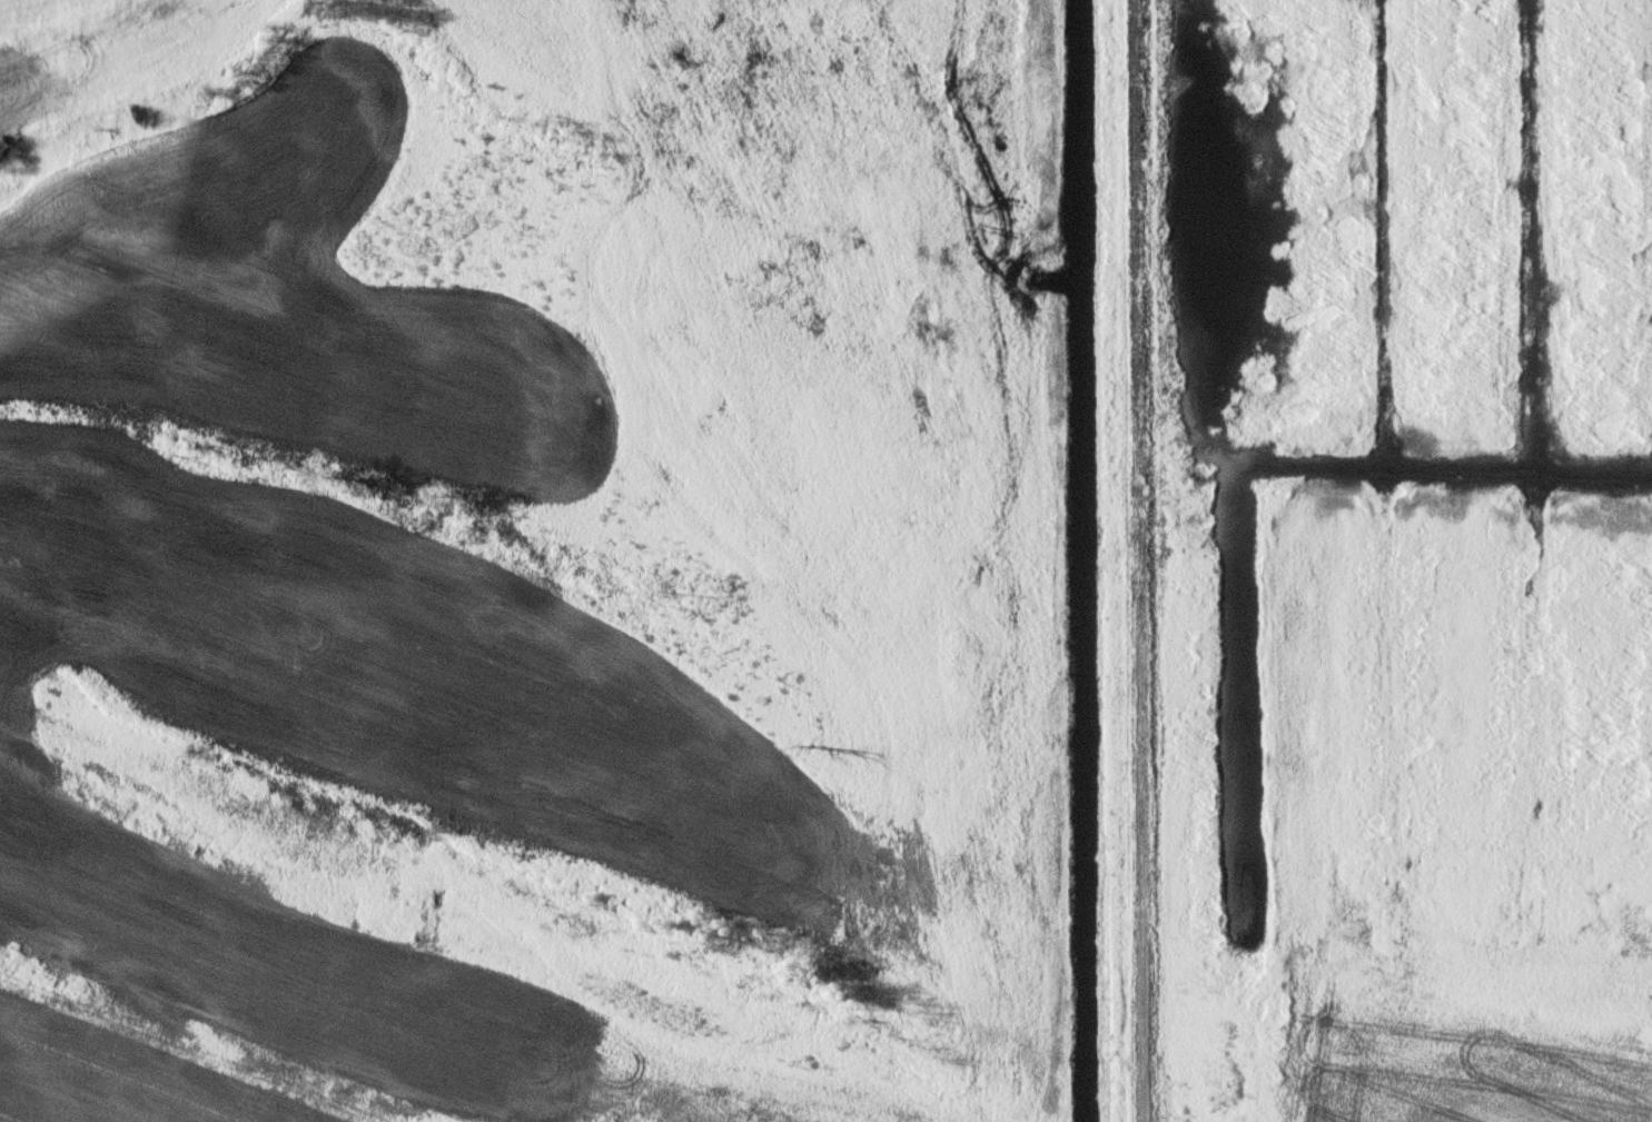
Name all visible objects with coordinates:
road: (1140, 560)

